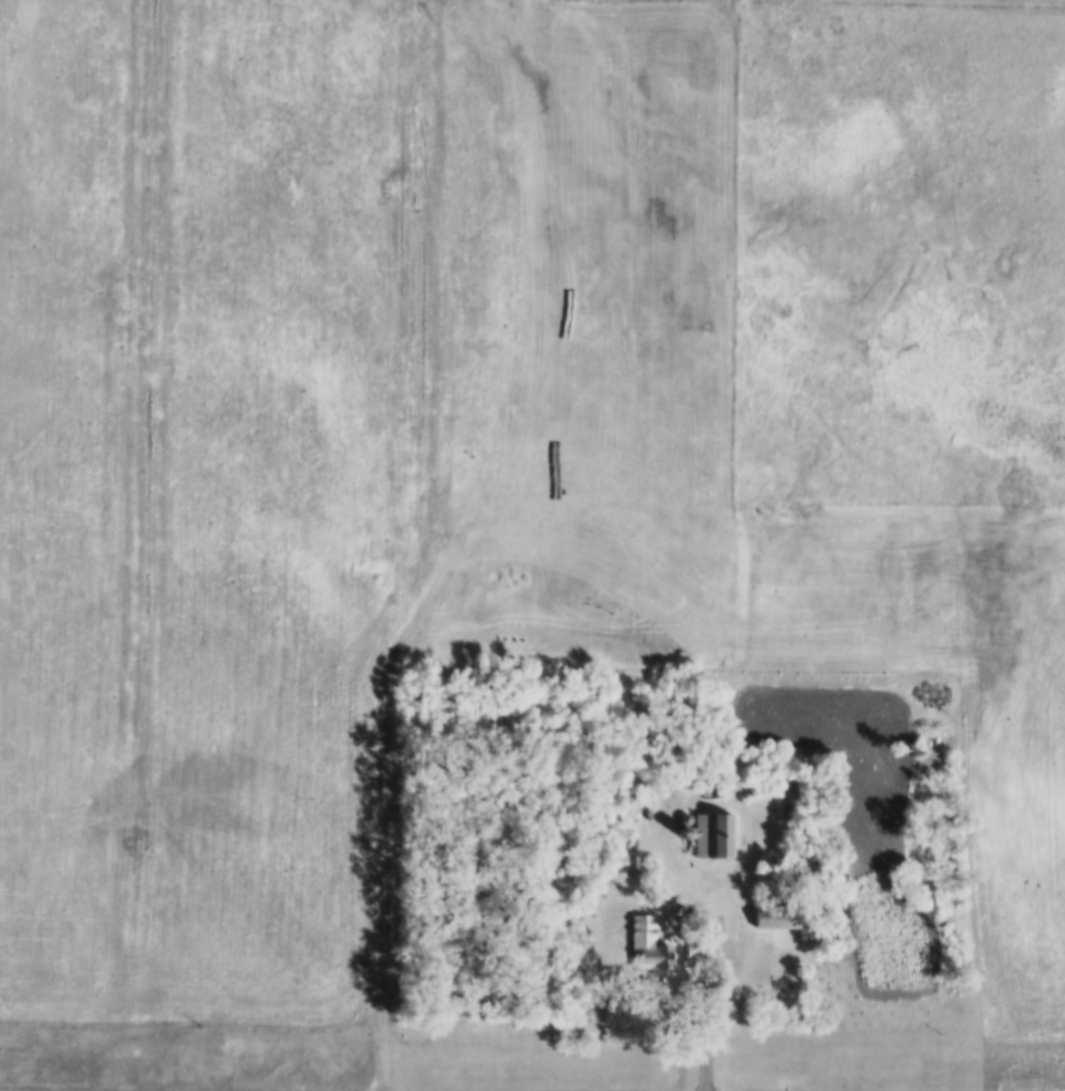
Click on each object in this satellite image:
building: (715, 837)
building: (776, 916)
road: (713, 1002)

